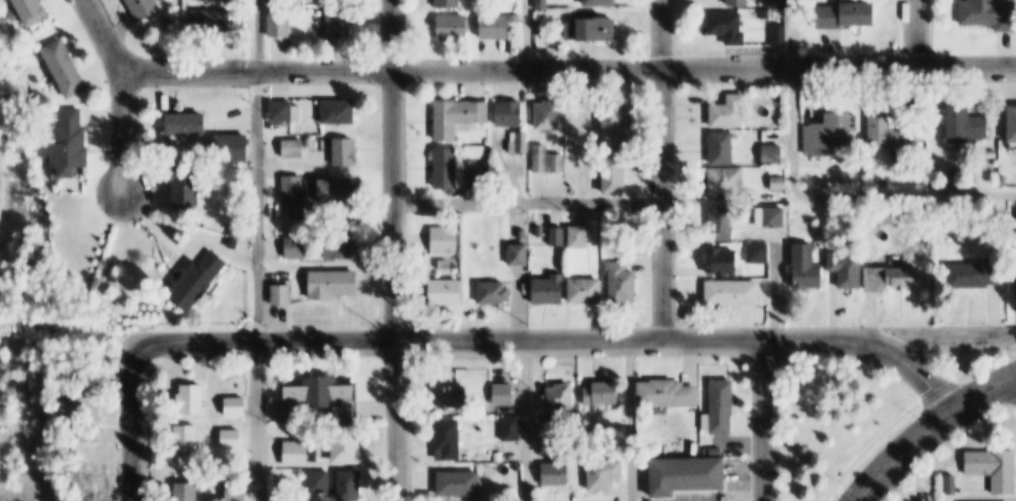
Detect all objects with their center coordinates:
building: (599, 2)
building: (739, 2)
building: (781, 3)
building: (448, 4)
building: (542, 4)
building: (145, 8)
building: (28, 12)
building: (990, 13)
building: (765, 14)
building: (848, 15)
building: (514, 18)
building: (216, 21)
building: (280, 21)
building: (341, 22)
building: (728, 26)
building: (452, 27)
building: (486, 27)
building: (592, 29)
road: (916, 33)
road: (528, 34)
road: (258, 35)
building: (780, 35)
building: (65, 68)
road: (568, 69)
road: (123, 93)
road: (795, 98)
building: (282, 111)
building: (340, 112)
building: (512, 112)
building: (731, 113)
building: (548, 115)
building: (458, 116)
building: (189, 123)
building: (1014, 123)
building: (968, 125)
building: (894, 133)
building: (830, 134)
building: (71, 142)
building: (233, 147)
building: (615, 147)
building: (294, 148)
building: (723, 148)
building: (346, 152)
building: (773, 154)
building: (991, 154)
building: (546, 160)
building: (446, 168)
building: (991, 168)
road: (664, 169)
building: (482, 178)
building: (728, 180)
building: (1004, 181)
building: (779, 183)
building: (186, 187)
building: (294, 190)
building: (339, 190)
road: (636, 199)
building: (770, 217)
building: (521, 222)
building: (722, 223)
building: (1009, 227)
building: (237, 229)
building: (516, 232)
building: (556, 236)
building: (578, 237)
building: (444, 239)
building: (233, 241)
building: (343, 242)
road: (258, 243)
building: (297, 246)
road: (396, 250)
building: (757, 253)
building: (519, 254)
building: (723, 262)
building: (444, 264)
building: (807, 266)
building: (848, 266)
building: (1015, 272)
building: (907, 275)
building: (978, 275)
building: (200, 279)
building: (622, 282)
building: (335, 284)
building: (550, 289)
building: (586, 291)
building: (446, 292)
building: (494, 292)
building: (733, 292)
building: (283, 294)
road: (946, 337)
road: (558, 339)
road: (984, 390)
building: (602, 393)
building: (667, 393)
building: (561, 396)
building: (453, 397)
building: (322, 398)
building: (195, 399)
building: (88, 403)
building: (722, 406)
building: (238, 407)
road: (910, 412)
road: (525, 420)
road: (767, 420)
road: (136, 424)
building: (90, 433)
building: (450, 437)
building: (190, 438)
building: (233, 438)
building: (350, 443)
road: (904, 450)
building: (551, 451)
building: (298, 453)
road: (263, 458)
building: (995, 468)
building: (606, 471)
building: (555, 473)
road: (632, 474)
building: (689, 475)
building: (322, 480)
building: (461, 484)
building: (352, 485)
building: (953, 485)
building: (189, 491)
building: (237, 491)

